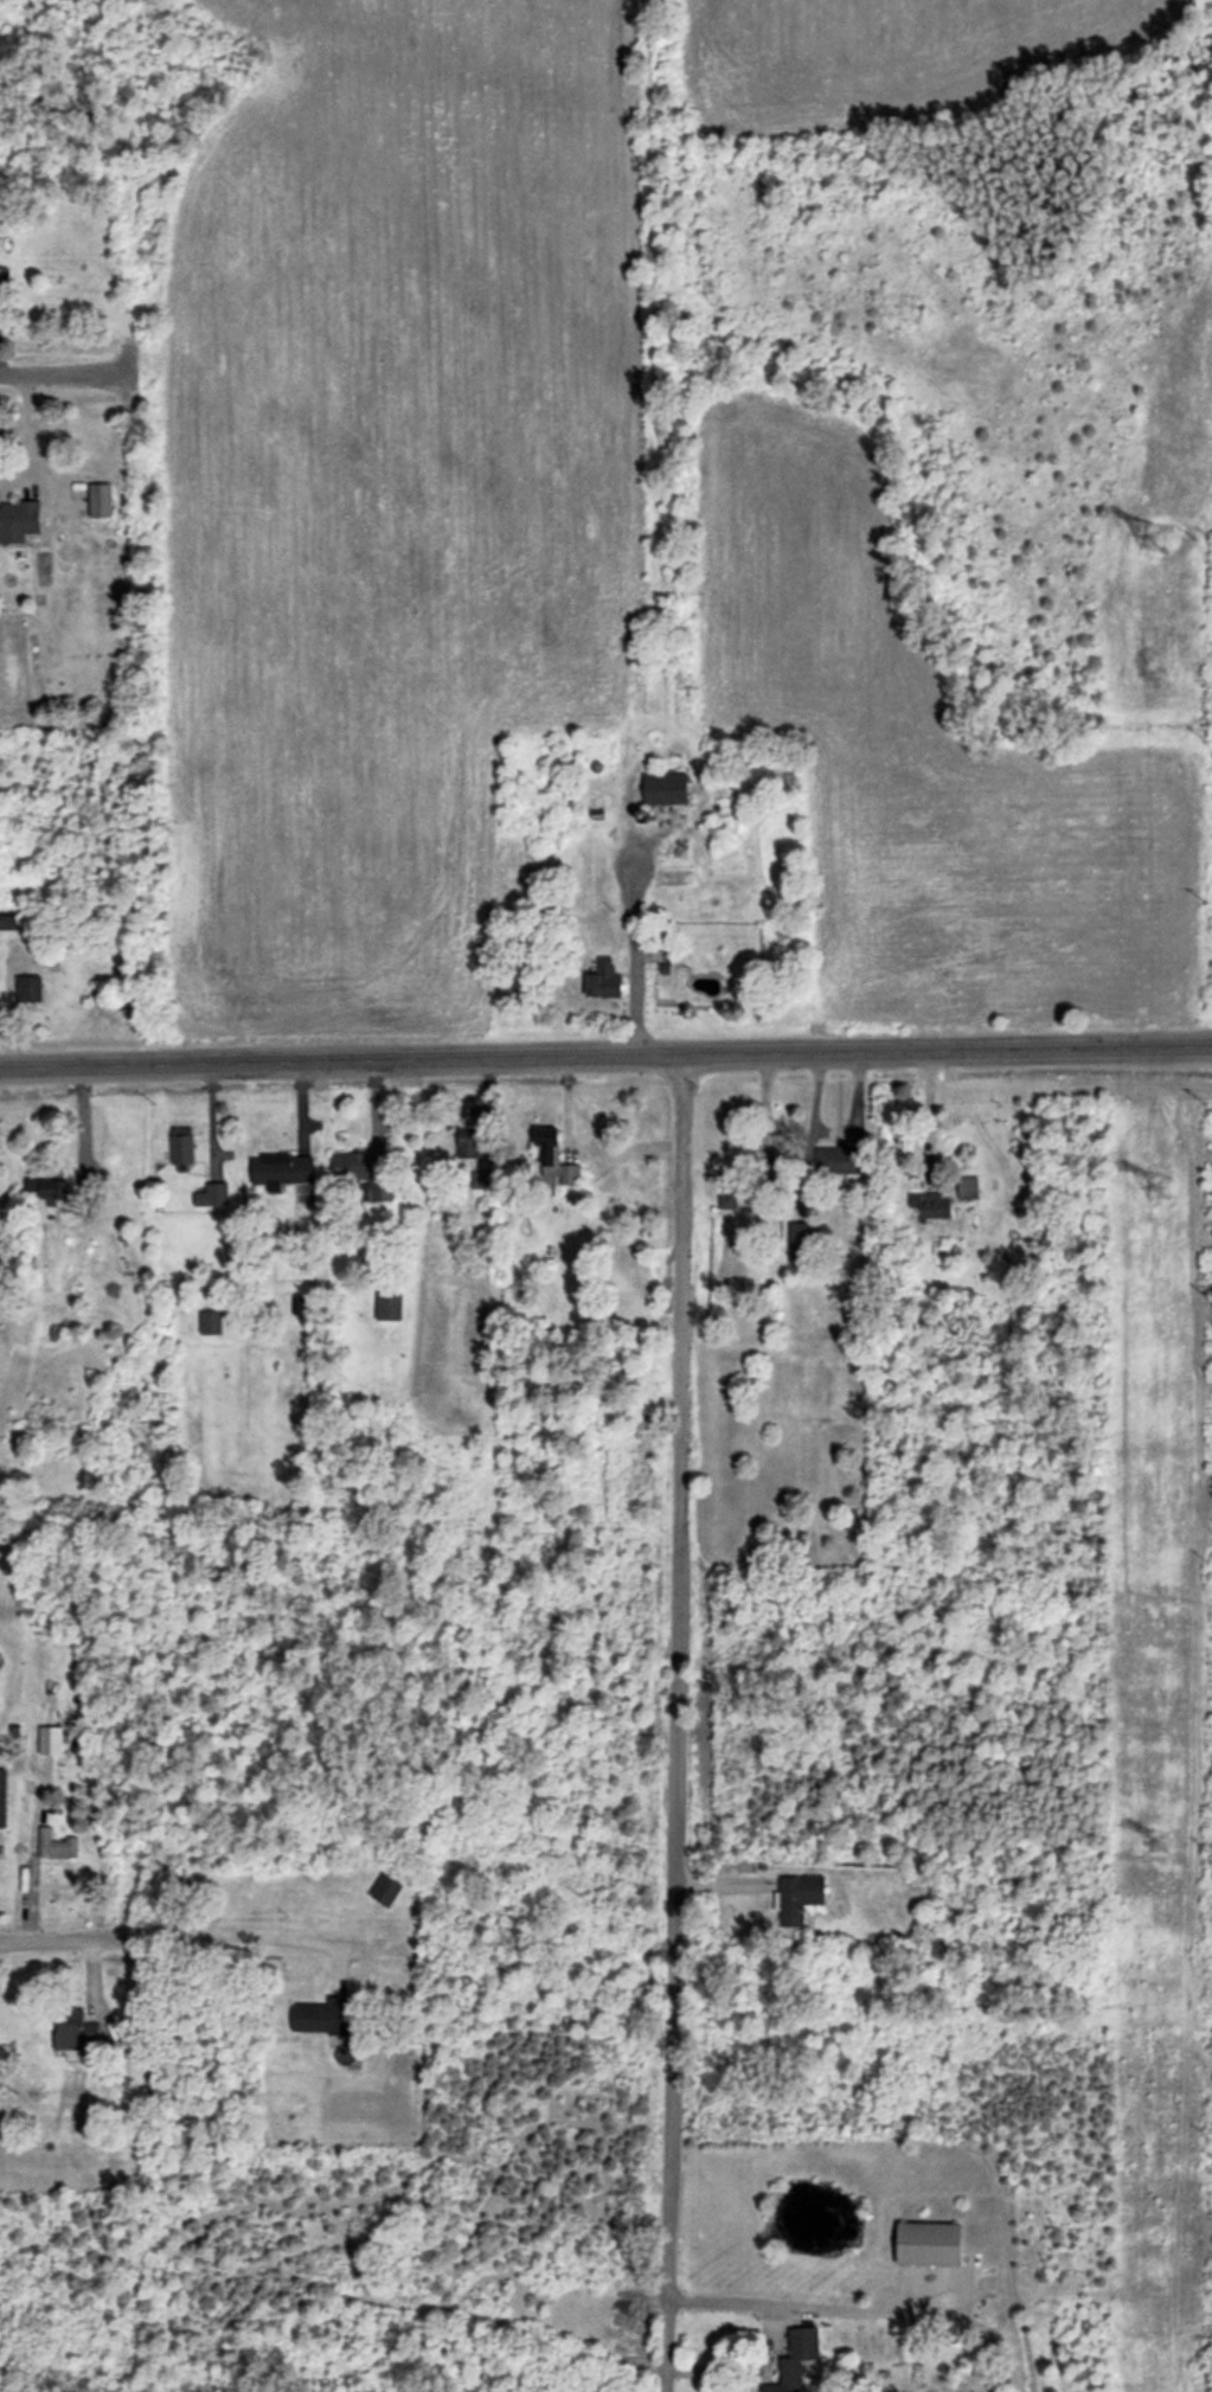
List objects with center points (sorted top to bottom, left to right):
building: (4, 277)
road: (63, 372)
building: (100, 499)
building: (18, 520)
power tower: (1153, 536)
building: (665, 788)
building: (7, 918)
road: (631, 958)
building: (604, 976)
building: (28, 987)
road: (605, 1054)
road: (929, 1114)
building: (468, 1141)
building: (181, 1147)
building: (554, 1156)
building: (841, 1160)
building: (350, 1165)
building: (281, 1169)
power tower: (1158, 1186)
building: (967, 1187)
building: (49, 1188)
building: (727, 1189)
building: (212, 1194)
building: (930, 1205)
building: (802, 1242)
building: (389, 1304)
building: (210, 1321)
road: (672, 1723)
building: (50, 1739)
building: (2, 1796)
power tower: (1159, 1840)
building: (56, 1845)
building: (386, 1890)
building: (799, 1897)
road: (251, 1935)
road: (77, 1938)
building: (321, 2015)
building: (73, 2031)
building: (929, 2243)
road: (801, 2308)
building: (795, 2359)
road: (743, 2367)

